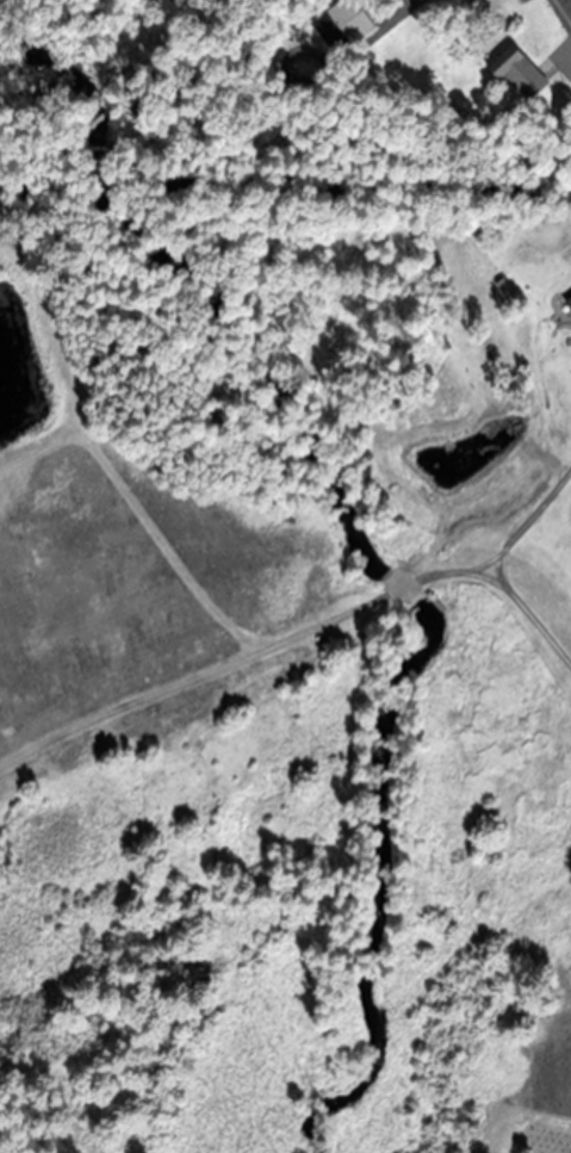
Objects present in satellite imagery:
building: (342, 23)
building: (519, 69)
building: (525, 253)
building: (570, 277)
building: (566, 302)

